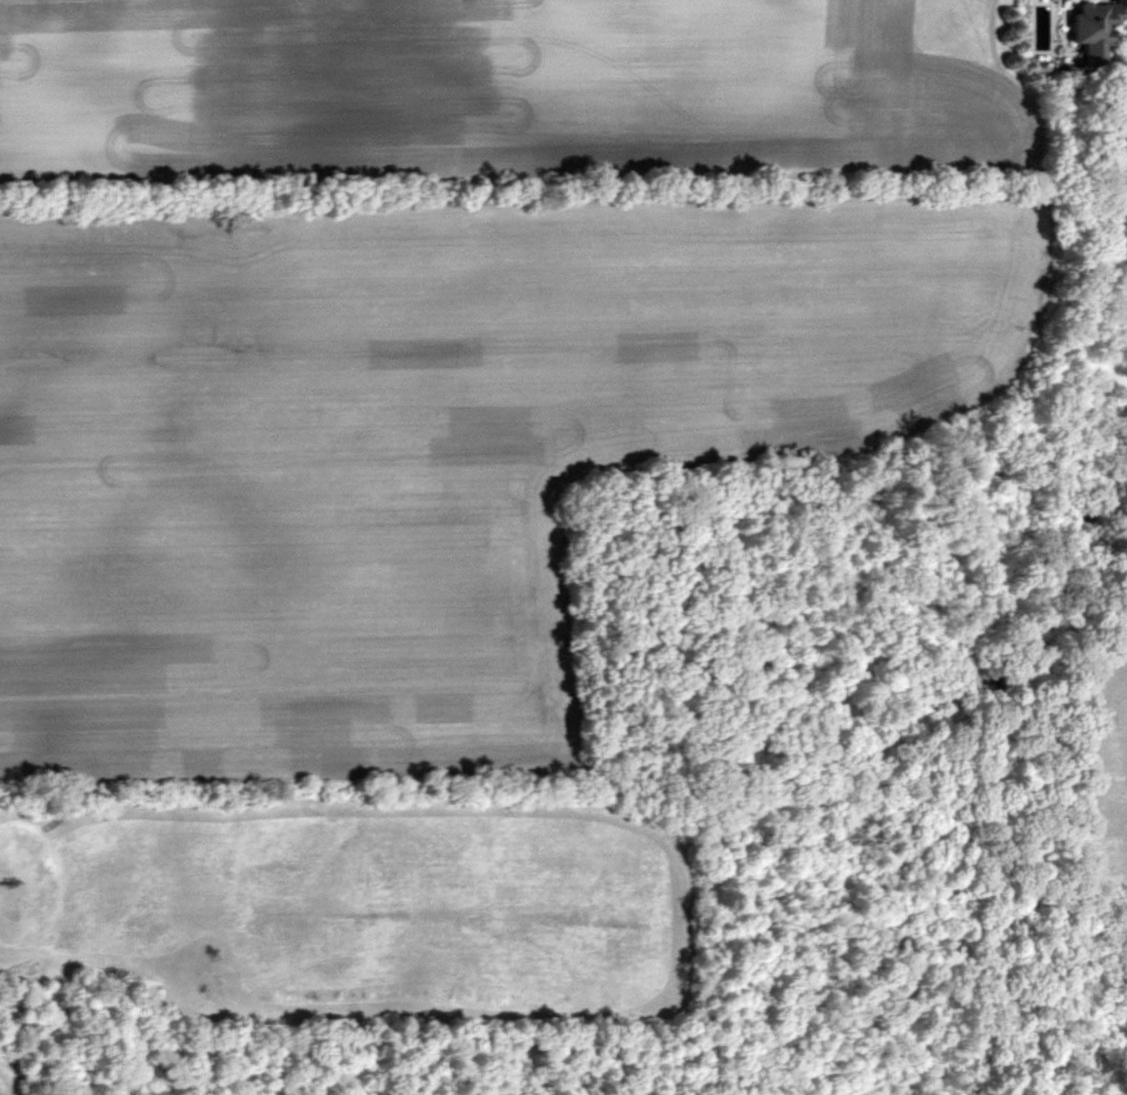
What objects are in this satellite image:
building: (1089, 29)

